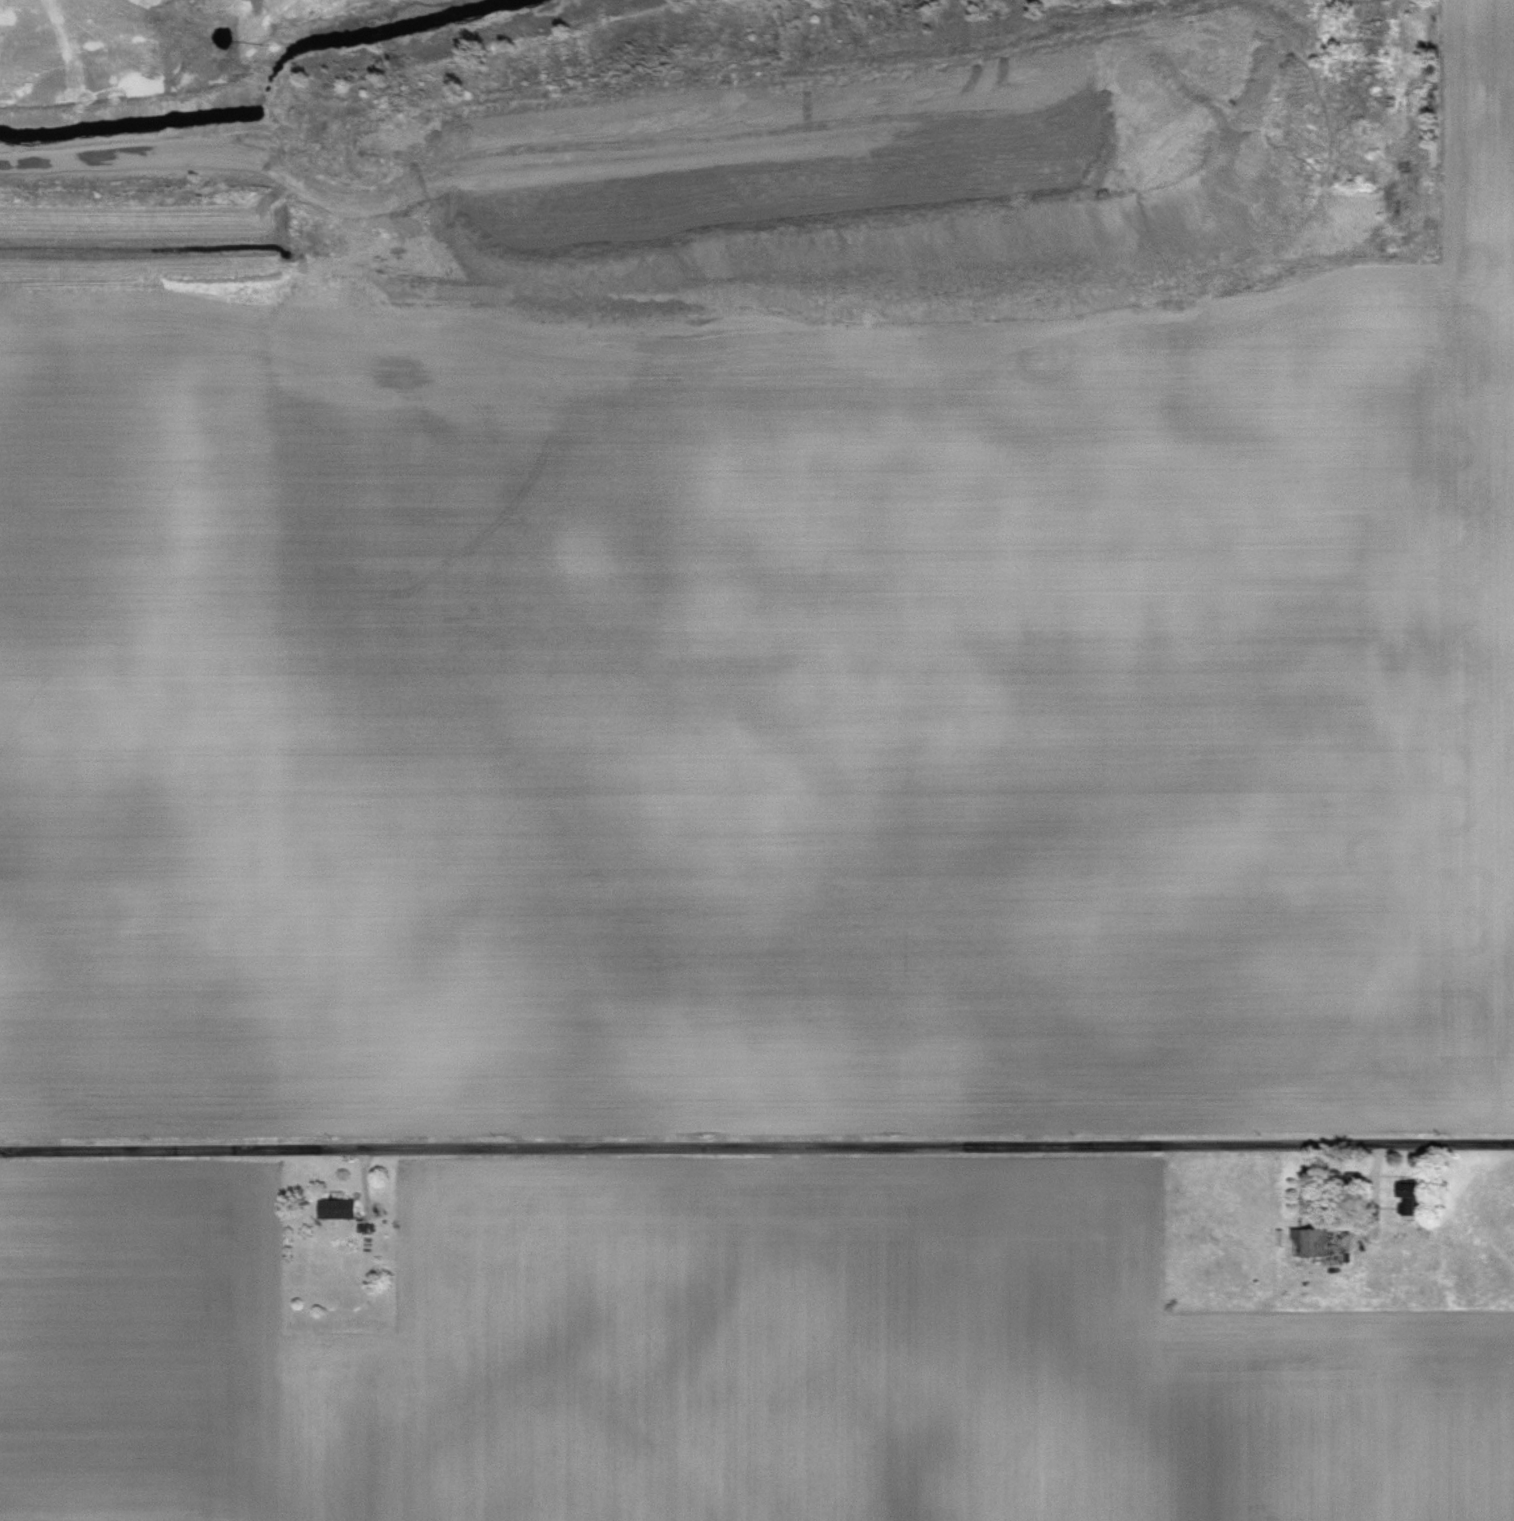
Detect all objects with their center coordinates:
quarry: (714, 135)
road: (757, 1151)
building: (336, 1208)

